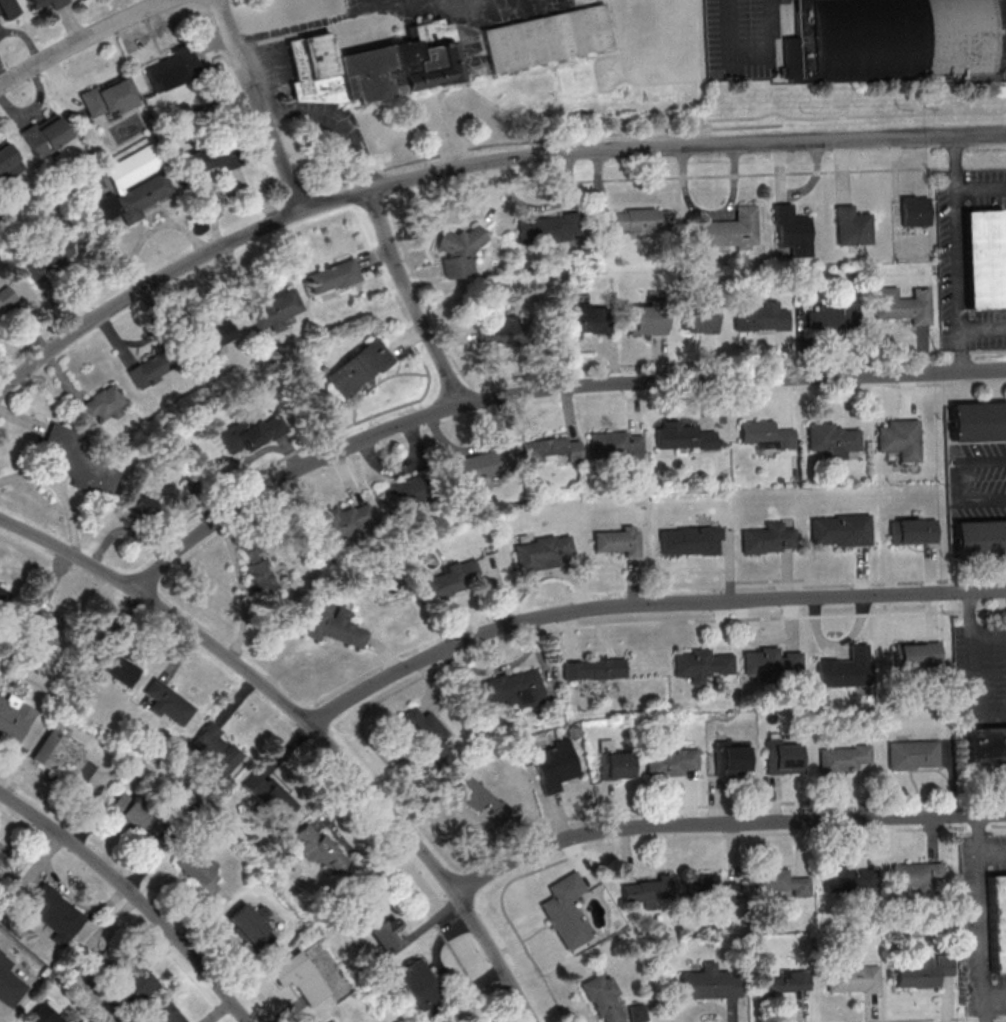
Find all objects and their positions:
building: (46, 3)
building: (8, 9)
road: (302, 29)
building: (895, 38)
road: (84, 40)
building: (443, 52)
road: (751, 60)
building: (173, 69)
building: (107, 98)
road: (259, 105)
road: (338, 123)
building: (46, 135)
building: (214, 156)
building: (9, 161)
road: (474, 165)
building: (135, 186)
road: (981, 188)
building: (913, 211)
building: (639, 220)
building: (851, 226)
building: (548, 228)
building: (792, 230)
building: (729, 231)
building: (459, 251)
road: (956, 254)
building: (52, 258)
building: (982, 260)
building: (334, 277)
building: (7, 300)
road: (411, 300)
building: (902, 306)
building: (280, 308)
building: (833, 316)
building: (647, 319)
building: (761, 319)
building: (700, 320)
building: (585, 321)
building: (498, 329)
road: (983, 329)
building: (216, 335)
building: (359, 368)
building: (149, 370)
road: (543, 391)
building: (103, 404)
building: (977, 422)
building: (249, 434)
building: (765, 435)
building: (683, 437)
building: (899, 439)
building: (831, 440)
building: (615, 446)
building: (551, 450)
building: (79, 461)
building: (474, 467)
road: (956, 481)
road: (60, 492)
building: (405, 497)
building: (140, 507)
building: (346, 522)
building: (840, 530)
building: (912, 531)
building: (765, 539)
building: (617, 541)
building: (688, 541)
building: (979, 542)
building: (542, 552)
building: (260, 569)
building: (443, 584)
road: (243, 589)
building: (4, 597)
road: (644, 606)
building: (334, 625)
building: (46, 627)
building: (917, 655)
building: (770, 662)
building: (700, 664)
building: (117, 669)
building: (593, 669)
building: (845, 669)
road: (973, 669)
building: (510, 689)
building: (168, 703)
building: (13, 720)
road: (308, 726)
building: (428, 735)
building: (985, 744)
building: (215, 750)
building: (913, 755)
building: (784, 757)
building: (63, 758)
building: (845, 758)
building: (733, 759)
building: (672, 762)
building: (614, 763)
building: (554, 765)
building: (270, 796)
building: (483, 801)
building: (134, 817)
road: (722, 824)
building: (321, 849)
road: (992, 854)
building: (0, 855)
building: (197, 871)
building: (917, 876)
building: (849, 879)
building: (781, 883)
building: (712, 888)
building: (646, 894)
road: (133, 896)
building: (565, 912)
building: (53, 915)
road: (980, 919)
building: (248, 924)
building: (996, 924)
building: (380, 928)
building: (924, 973)
building: (301, 978)
building: (853, 979)
building: (8, 982)
building: (786, 982)
building: (710, 983)
building: (420, 984)
building: (134, 986)
road: (994, 997)
building: (604, 999)
building: (637, 1013)
building: (44, 1014)
building: (164, 1014)
building: (183, 1021)
building: (337, 1021)

